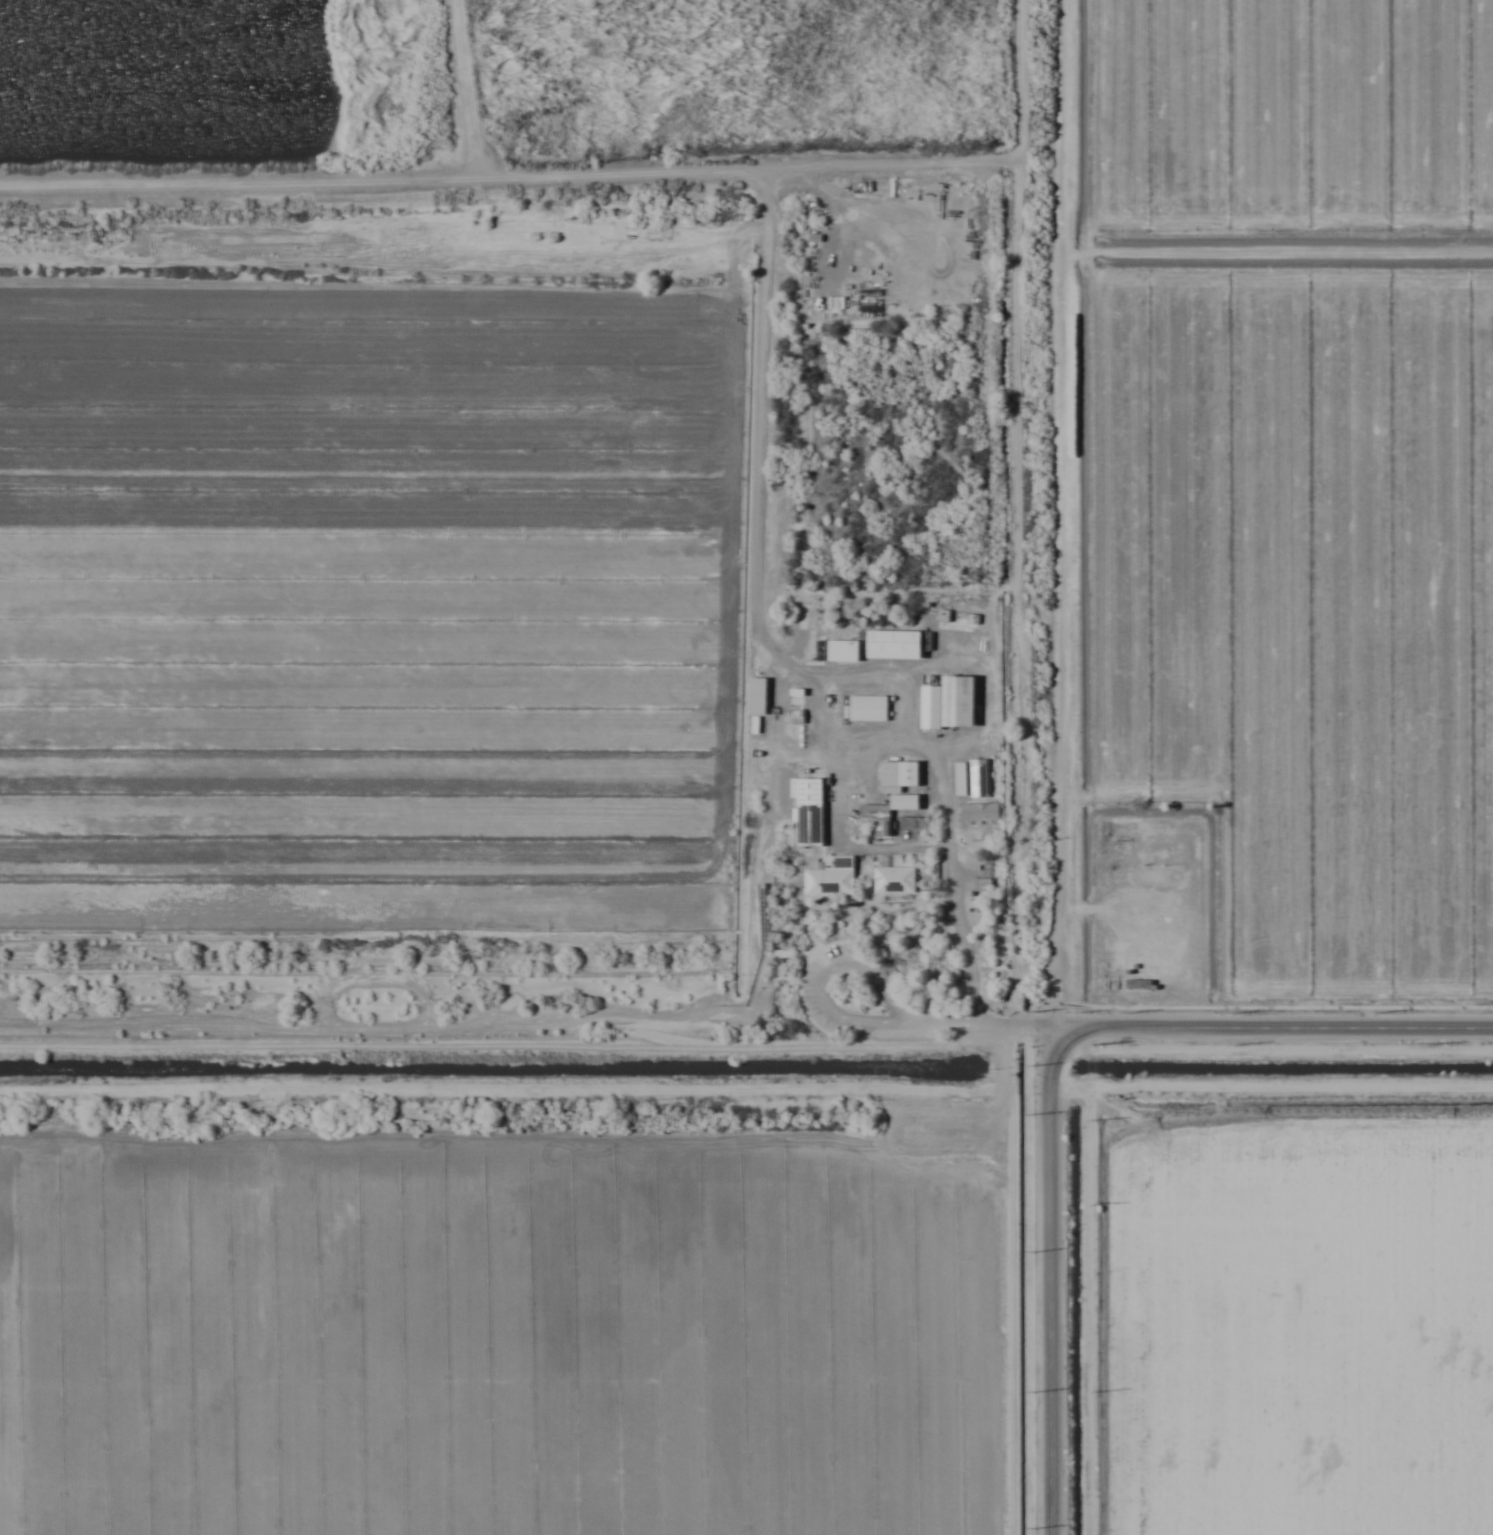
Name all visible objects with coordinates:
building: (932, 191)
road: (1051, 513)
building: (896, 643)
building: (844, 649)
building: (798, 691)
building: (758, 695)
building: (798, 700)
building: (950, 702)
building: (869, 707)
building: (795, 716)
building: (899, 775)
building: (979, 777)
building: (962, 778)
building: (810, 810)
building: (981, 811)
building: (878, 816)
road: (806, 873)
building: (832, 875)
building: (895, 879)
road: (803, 883)
road: (761, 886)
building: (979, 911)
road: (805, 926)
road: (790, 951)
road: (825, 976)
road: (800, 982)
parking lot: (890, 1005)
road: (405, 1022)
road: (980, 1023)
road: (1273, 1026)
road: (502, 1044)
road: (997, 1124)
parking lot: (946, 1128)
road: (1050, 1280)

